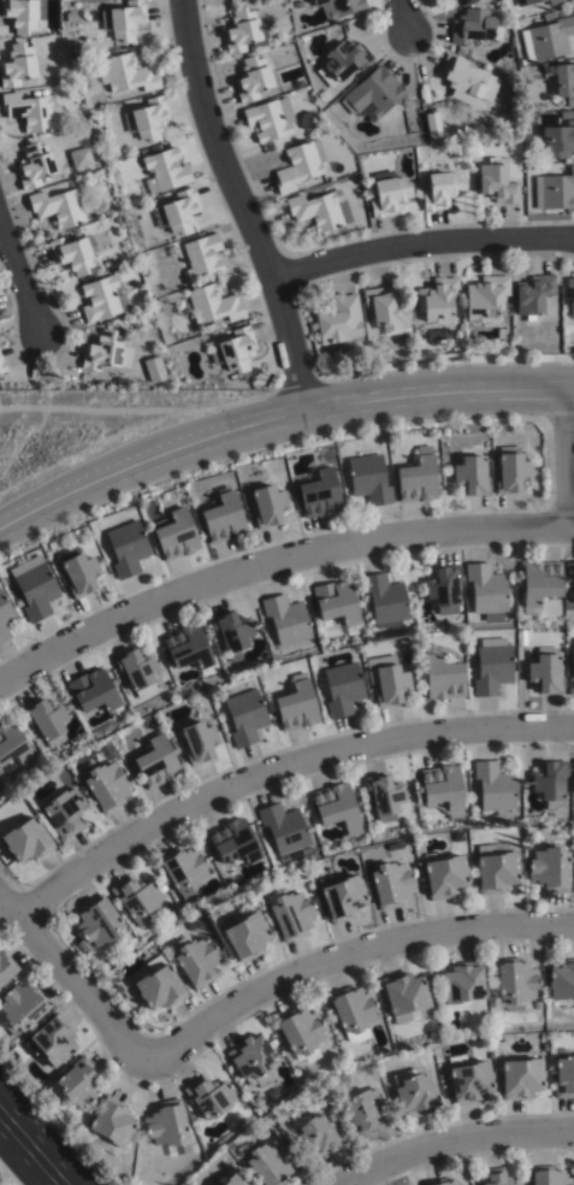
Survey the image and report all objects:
building: (452, 0)
building: (538, 2)
building: (339, 8)
building: (22, 14)
road: (403, 17)
building: (124, 20)
building: (474, 28)
building: (244, 31)
building: (551, 39)
building: (344, 61)
building: (17, 67)
building: (126, 72)
building: (252, 81)
building: (467, 82)
building: (564, 84)
building: (372, 95)
building: (32, 113)
building: (148, 120)
building: (266, 123)
building: (432, 126)
building: (558, 143)
building: (79, 157)
building: (35, 167)
building: (298, 167)
building: (165, 172)
building: (497, 184)
building: (440, 191)
building: (555, 193)
building: (387, 197)
road: (241, 206)
building: (58, 208)
building: (320, 212)
building: (178, 214)
road: (420, 243)
building: (73, 255)
building: (202, 258)
road: (19, 273)
building: (126, 287)
building: (570, 290)
building: (534, 295)
building: (101, 301)
building: (436, 301)
building: (486, 301)
building: (213, 306)
building: (386, 309)
building: (338, 320)
building: (501, 335)
building: (442, 336)
building: (232, 352)
building: (108, 356)
building: (1, 366)
road: (276, 419)
building: (400, 435)
road: (566, 455)
building: (510, 470)
building: (472, 472)
building: (416, 476)
building: (368, 477)
building: (319, 491)
building: (266, 503)
building: (221, 515)
building: (177, 532)
building: (126, 547)
road: (274, 559)
building: (78, 567)
building: (570, 576)
building: (539, 582)
building: (34, 585)
building: (444, 586)
building: (486, 589)
building: (385, 599)
building: (336, 602)
building: (5, 617)
building: (285, 618)
building: (232, 631)
building: (189, 647)
building: (492, 665)
building: (138, 668)
building: (546, 672)
building: (442, 673)
building: (570, 680)
building: (390, 683)
building: (342, 686)
building: (95, 691)
building: (295, 703)
building: (245, 715)
building: (46, 719)
building: (199, 741)
building: (12, 743)
building: (156, 761)
road: (278, 767)
building: (551, 780)
building: (107, 784)
building: (573, 785)
building: (495, 788)
building: (442, 789)
building: (384, 795)
building: (336, 806)
building: (64, 810)
building: (283, 830)
building: (26, 839)
building: (232, 842)
building: (496, 866)
building: (182, 867)
building: (550, 867)
building: (445, 876)
building: (390, 883)
building: (341, 896)
building: (135, 897)
building: (289, 913)
building: (100, 924)
building: (244, 935)
road: (351, 951)
building: (195, 960)
building: (6, 968)
road: (73, 980)
building: (562, 980)
building: (514, 984)
building: (156, 985)
building: (463, 988)
building: (406, 997)
building: (22, 1007)
building: (353, 1012)
building: (300, 1032)
building: (51, 1042)
building: (456, 1057)
building: (252, 1060)
building: (564, 1077)
building: (521, 1078)
building: (469, 1083)
building: (77, 1084)
building: (414, 1092)
building: (208, 1096)
building: (361, 1108)
building: (111, 1127)
building: (165, 1127)
building: (316, 1134)
road: (452, 1142)
road: (35, 1145)
building: (265, 1162)
building: (549, 1177)
building: (493, 1178)
building: (233, 1179)
building: (440, 1183)

